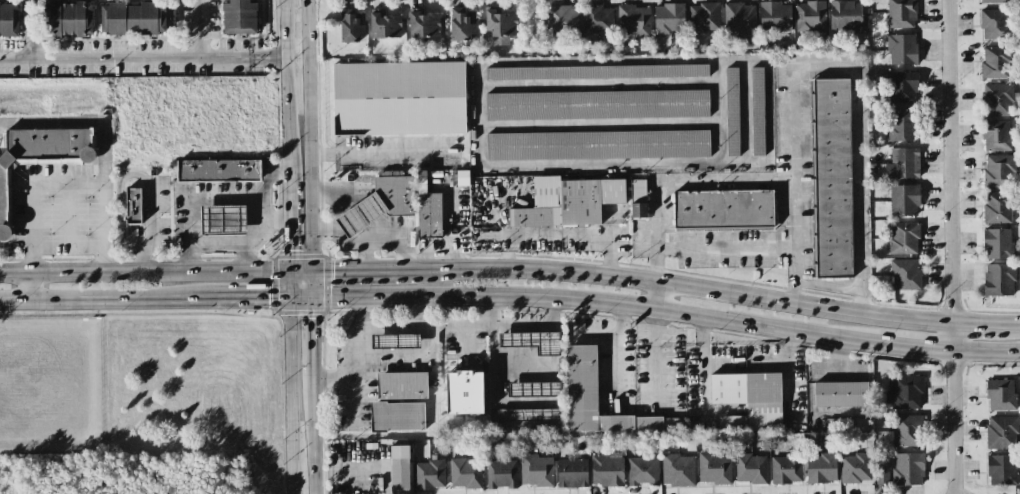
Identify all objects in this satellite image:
building: (996, 1)
building: (901, 13)
building: (239, 16)
building: (845, 16)
building: (704, 17)
building: (775, 17)
building: (68, 18)
building: (136, 18)
building: (669, 18)
building: (739, 18)
building: (597, 19)
building: (9, 20)
building: (561, 20)
building: (633, 20)
building: (423, 24)
building: (994, 24)
building: (351, 25)
building: (384, 25)
building: (461, 25)
building: (500, 26)
road: (202, 30)
road: (34, 32)
building: (901, 49)
road: (142, 62)
building: (995, 62)
road: (808, 66)
building: (596, 72)
road: (286, 83)
building: (902, 86)
building: (399, 98)
building: (997, 99)
building: (597, 105)
building: (732, 111)
building: (757, 111)
building: (902, 125)
building: (996, 135)
road: (309, 137)
building: (597, 145)
road: (380, 152)
building: (40, 155)
road: (950, 162)
building: (903, 163)
road: (584, 165)
building: (999, 170)
building: (219, 171)
road: (135, 172)
road: (268, 174)
building: (832, 178)
road: (67, 183)
building: (394, 197)
road: (217, 198)
building: (638, 199)
building: (904, 200)
building: (567, 202)
building: (133, 205)
building: (997, 207)
road: (334, 208)
building: (428, 209)
building: (723, 209)
building: (358, 217)
road: (274, 219)
building: (214, 220)
road: (291, 220)
road: (611, 221)
building: (904, 238)
road: (217, 243)
building: (997, 243)
road: (377, 244)
road: (65, 245)
traffic signals: (292, 249)
road: (728, 256)
road: (364, 259)
road: (350, 273)
road: (302, 274)
traffic signals: (334, 274)
building: (904, 274)
road: (146, 275)
building: (999, 280)
road: (657, 285)
road: (672, 285)
road: (312, 286)
road: (293, 287)
road: (31, 288)
road: (111, 300)
road: (258, 300)
traffic signals: (269, 300)
road: (593, 302)
traffic signals: (312, 318)
road: (467, 323)
road: (531, 326)
road: (979, 326)
road: (410, 328)
road: (1013, 328)
road: (598, 338)
road: (312, 339)
building: (396, 342)
building: (533, 342)
road: (921, 348)
road: (619, 353)
road: (986, 353)
road: (359, 359)
road: (704, 361)
road: (721, 367)
road: (790, 369)
building: (581, 381)
building: (402, 386)
building: (534, 389)
building: (464, 392)
building: (906, 393)
building: (1000, 394)
building: (841, 395)
road: (292, 397)
building: (751, 398)
road: (954, 409)
building: (529, 415)
building: (398, 417)
building: (732, 424)
building: (907, 430)
building: (1001, 432)
road: (313, 437)
building: (400, 467)
building: (607, 468)
building: (714, 468)
building: (750, 468)
building: (786, 468)
building: (821, 468)
building: (856, 468)
building: (907, 468)
building: (536, 470)
building: (678, 470)
building: (1001, 470)
building: (642, 471)
road: (339, 472)
building: (465, 473)
building: (572, 473)
building: (501, 474)
building: (429, 475)
building: (882, 475)

